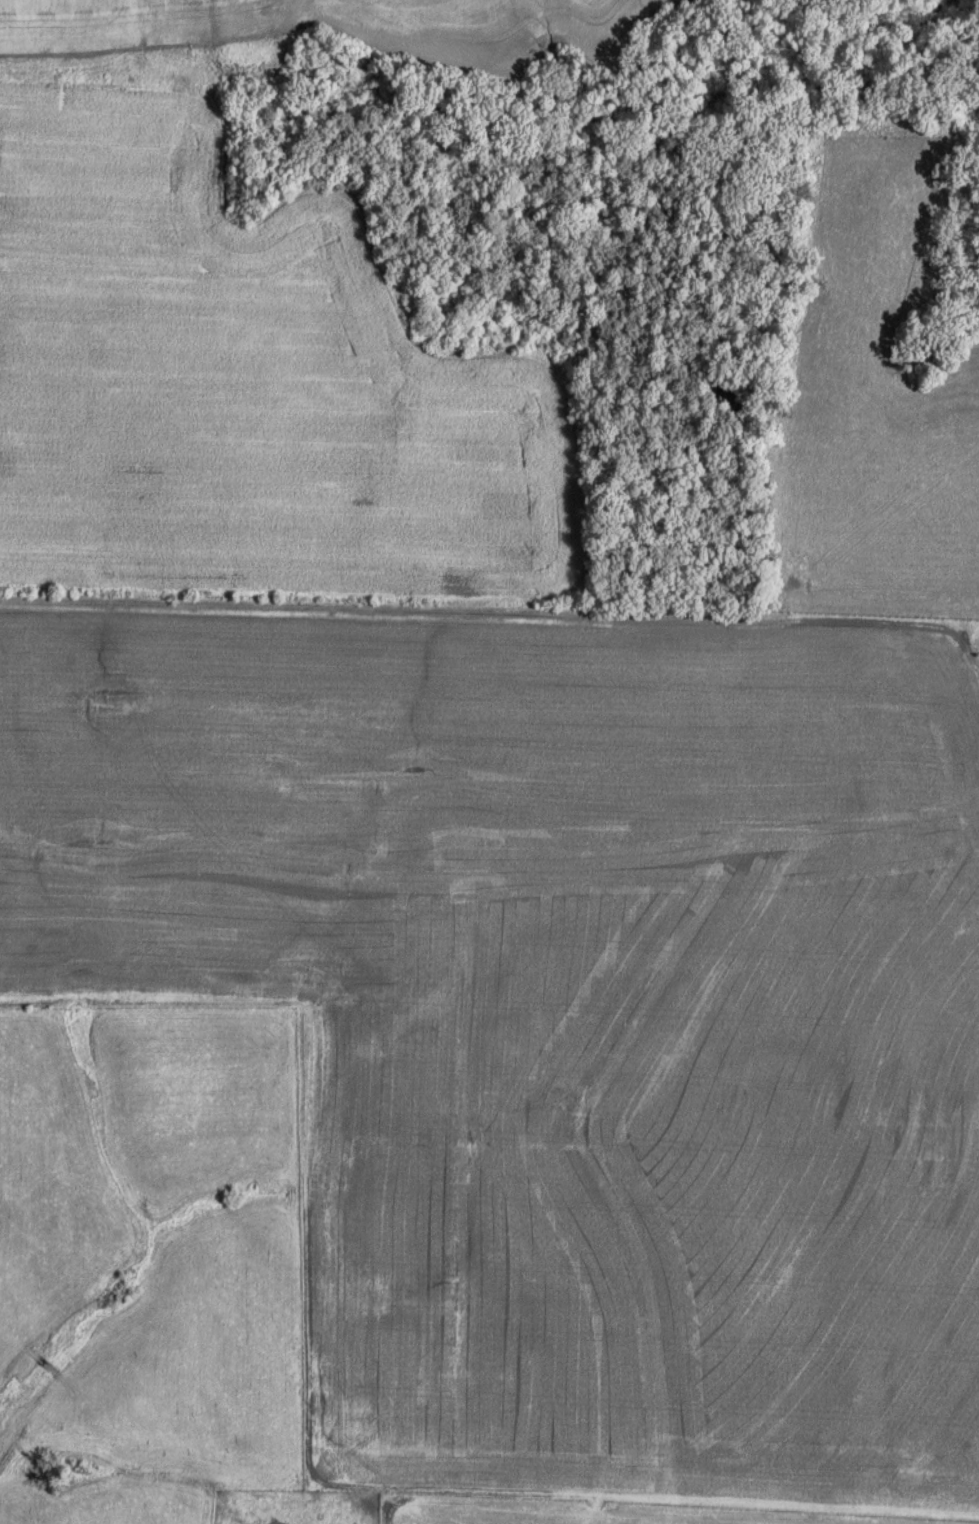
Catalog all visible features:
crop: (327, 35)
crop: (262, 393)
crop: (558, 1020)
crop: (146, 1259)
crop: (597, 1512)

